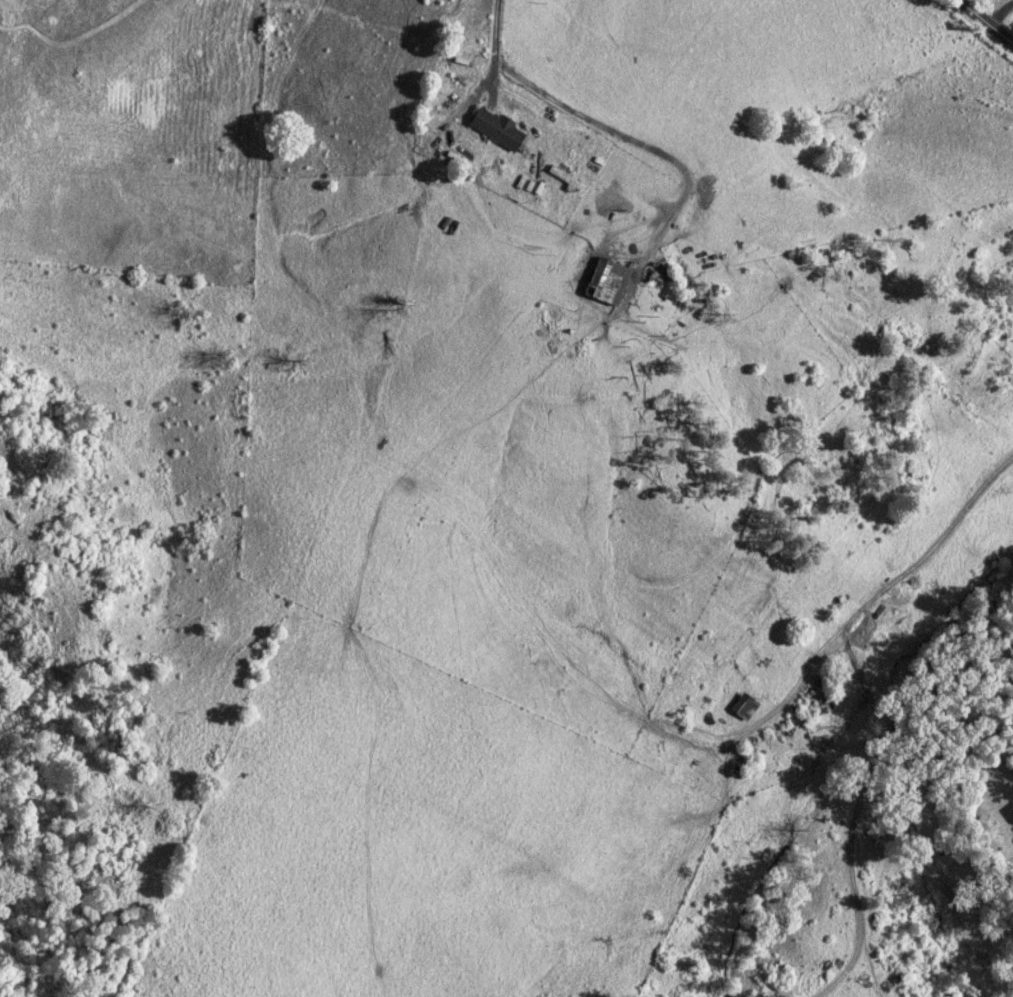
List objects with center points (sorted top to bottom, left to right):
road: (999, 11)
road: (987, 20)
road: (493, 45)
building: (495, 127)
building: (607, 281)
building: (744, 705)

